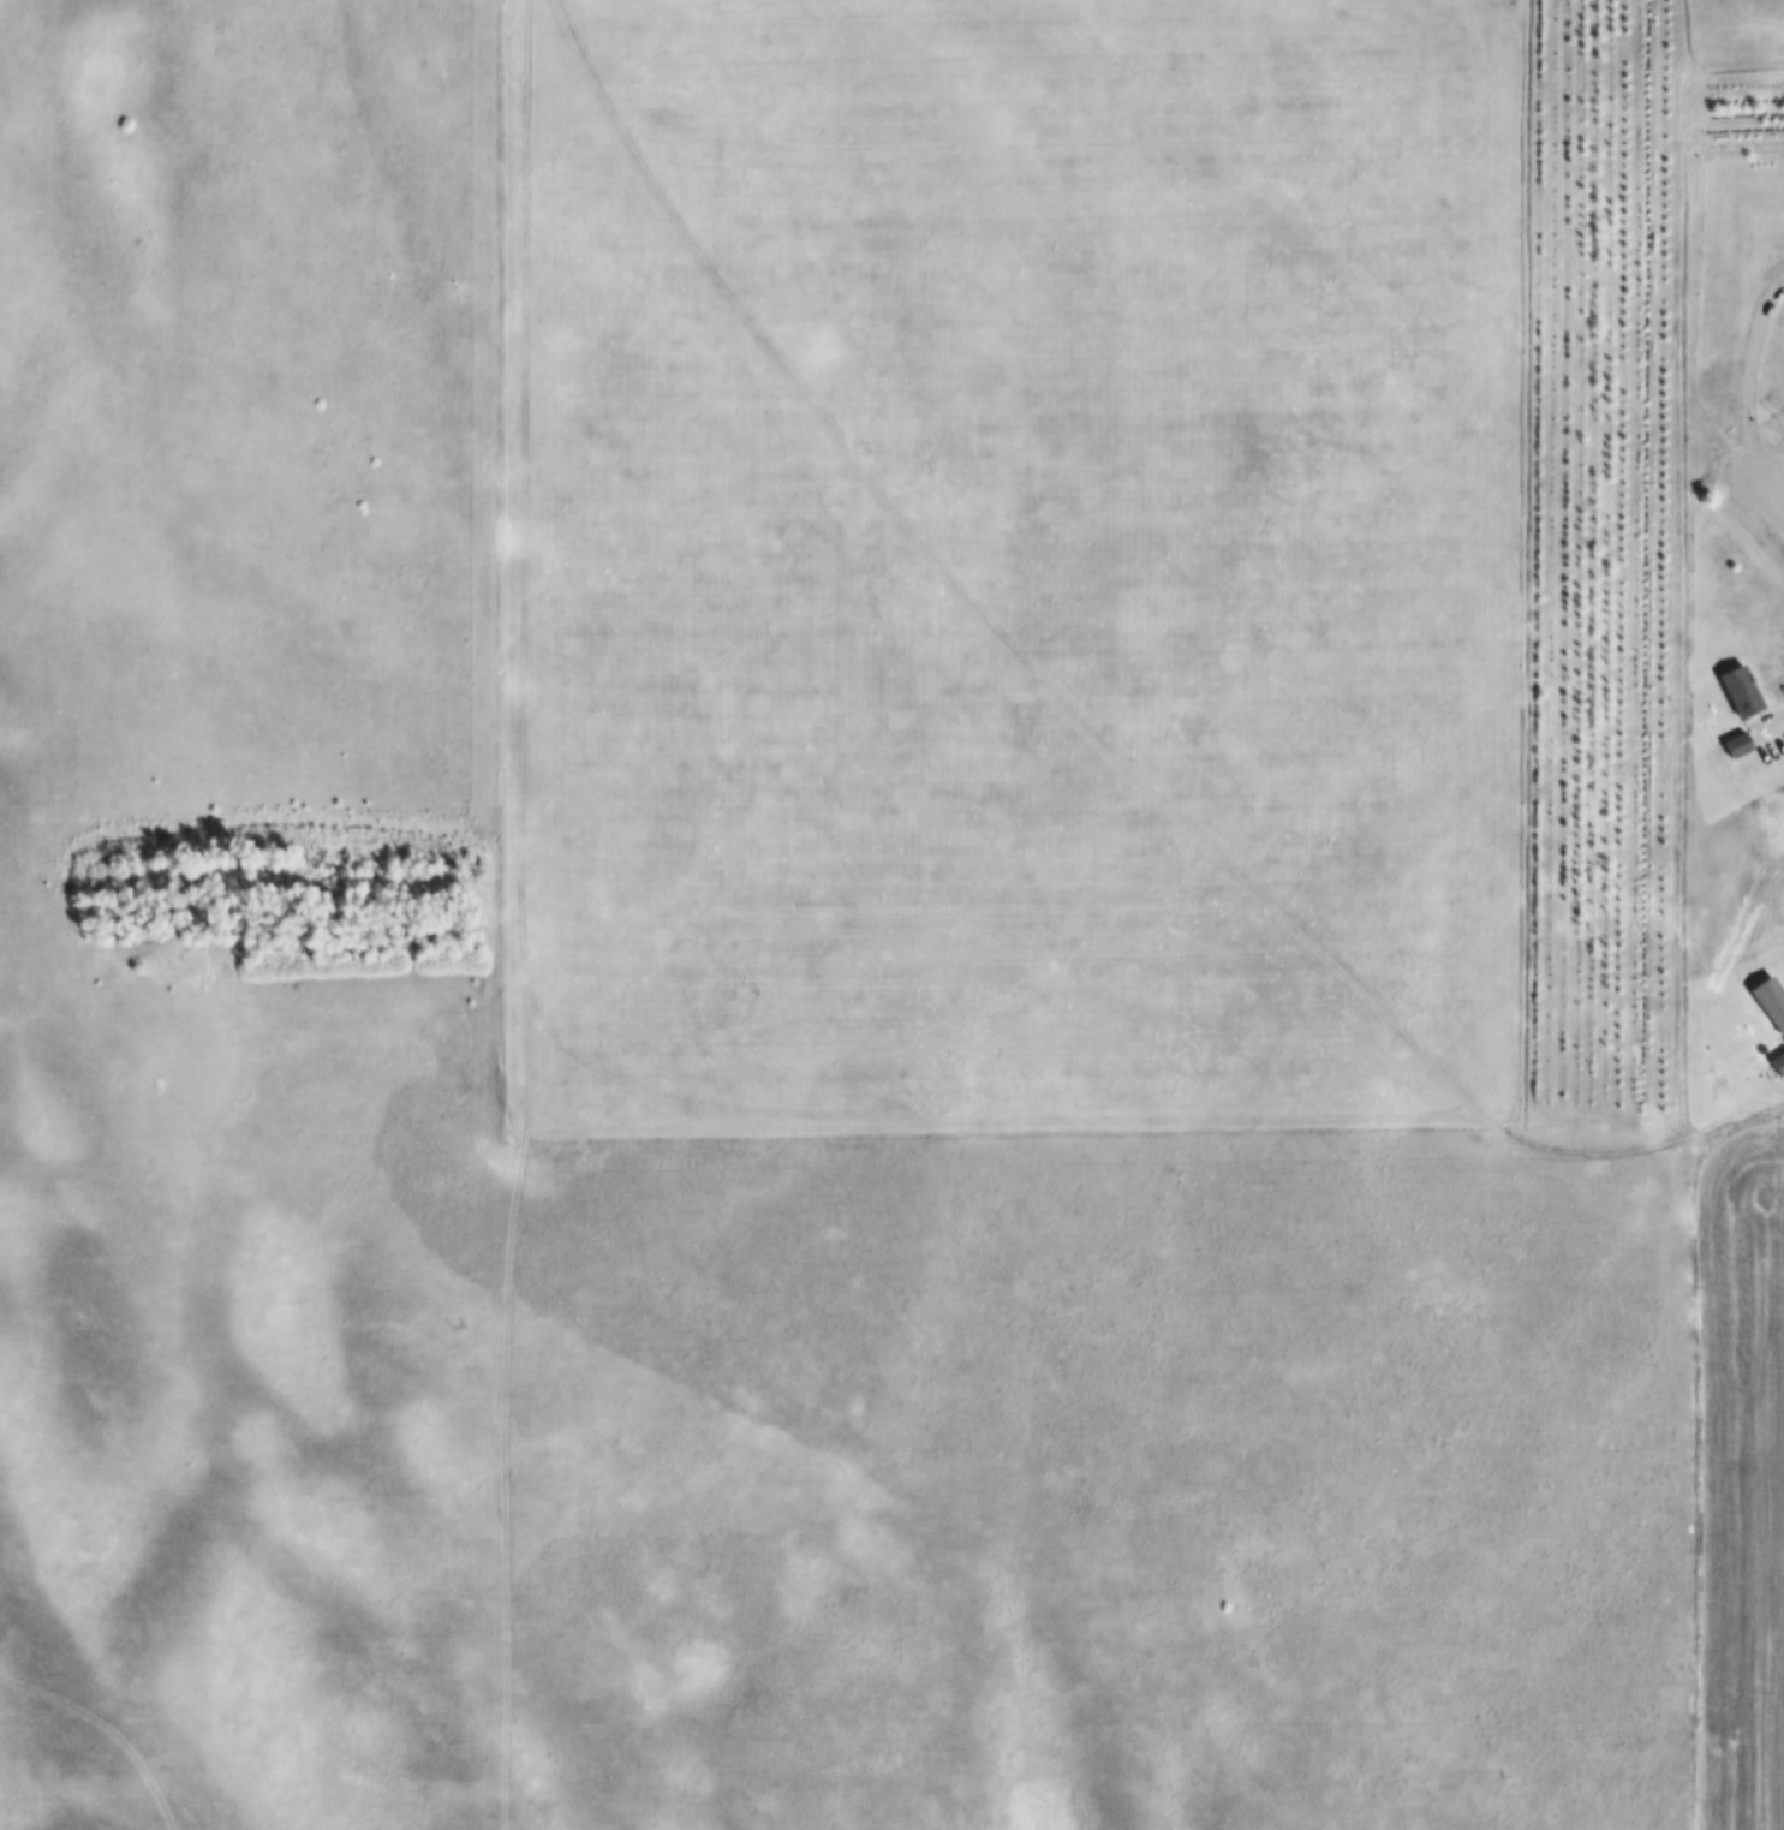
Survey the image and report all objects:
road: (1753, 369)
road: (1772, 465)
road: (1772, 488)
building: (1743, 692)
building: (1741, 744)
building: (1772, 1000)
building: (1779, 1066)

